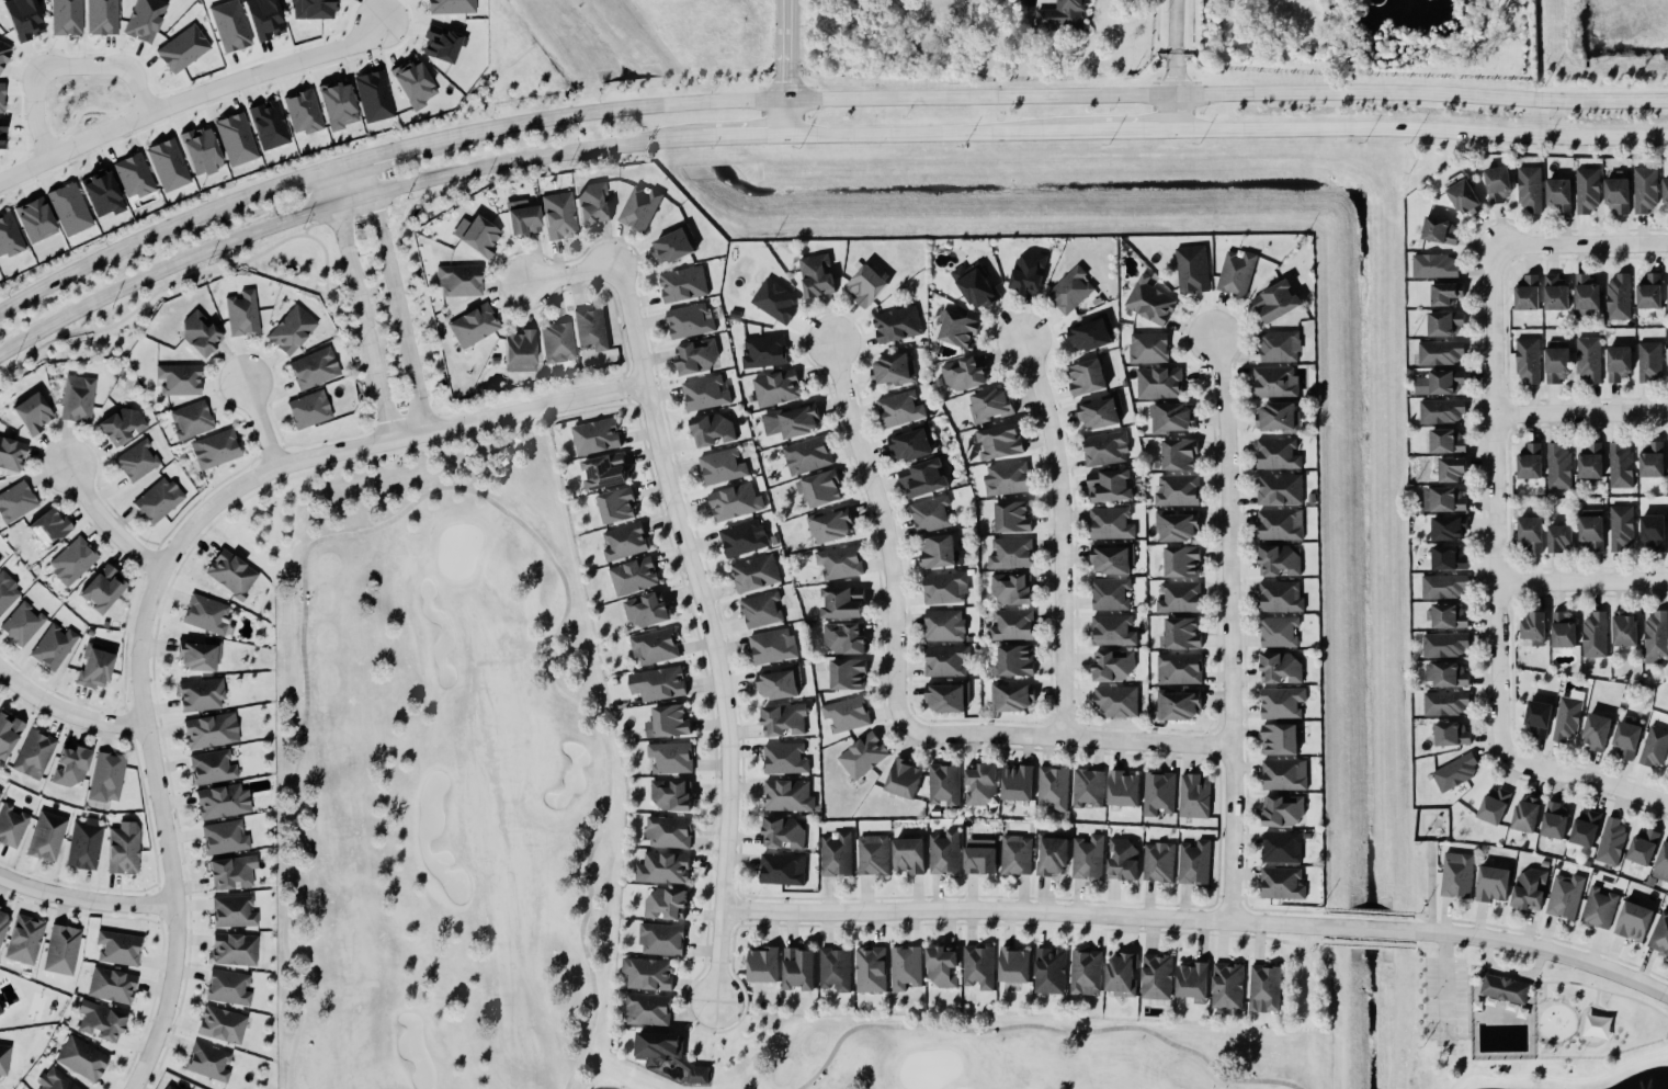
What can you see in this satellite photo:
building: (450, 5)
building: (311, 8)
building: (1060, 15)
building: (66, 16)
building: (102, 16)
building: (22, 19)
building: (144, 19)
building: (262, 19)
building: (229, 25)
building: (440, 43)
building: (181, 48)
building: (3, 52)
road: (1176, 66)
road: (787, 68)
road: (110, 76)
building: (412, 83)
building: (372, 95)
building: (1, 97)
road: (190, 98)
road: (1227, 102)
building: (336, 105)
building: (302, 112)
road: (602, 112)
road: (41, 117)
building: (268, 124)
road: (1227, 132)
building: (2, 133)
building: (235, 138)
building: (198, 150)
road: (388, 152)
building: (167, 165)
road: (338, 166)
building: (132, 175)
building: (1497, 184)
building: (1530, 189)
building: (1588, 191)
building: (1647, 191)
building: (1665, 191)
road: (377, 193)
building: (99, 194)
building: (1558, 195)
building: (1618, 195)
building: (1463, 197)
building: (592, 203)
building: (68, 208)
building: (640, 209)
building: (558, 215)
building: (520, 217)
building: (33, 219)
building: (1440, 231)
road: (155, 235)
building: (8, 236)
building: (476, 236)
building: (672, 246)
road: (1495, 249)
building: (1434, 266)
building: (1193, 270)
building: (1029, 272)
building: (1237, 273)
road: (571, 275)
building: (817, 276)
building: (458, 280)
building: (683, 284)
building: (865, 285)
building: (974, 287)
building: (1071, 291)
building: (1527, 293)
building: (1556, 293)
building: (1587, 293)
building: (1650, 293)
building: (1445, 294)
road: (396, 296)
building: (1620, 297)
building: (775, 302)
building: (1149, 302)
building: (1275, 303)
road: (355, 306)
building: (241, 314)
building: (690, 321)
building: (1445, 324)
building: (473, 325)
building: (897, 325)
building: (591, 329)
building: (291, 330)
building: (957, 330)
building: (197, 333)
building: (1091, 336)
building: (556, 341)
building: (1280, 347)
building: (1148, 349)
building: (519, 350)
building: (764, 352)
building: (1441, 353)
building: (695, 356)
building: (1589, 359)
building: (1529, 361)
building: (1557, 361)
building: (1650, 362)
building: (1619, 363)
building: (314, 367)
building: (893, 370)
building: (965, 374)
building: (1086, 377)
building: (179, 378)
building: (1275, 382)
building: (1159, 384)
building: (1441, 384)
building: (776, 388)
building: (705, 393)
building: (77, 398)
building: (990, 405)
building: (308, 409)
building: (900, 410)
building: (1442, 411)
building: (30, 413)
building: (1100, 413)
building: (1170, 418)
building: (1279, 418)
road: (1584, 418)
building: (191, 420)
road: (259, 421)
building: (791, 422)
building: (121, 424)
building: (712, 431)
building: (595, 436)
building: (1448, 441)
road: (386, 442)
building: (999, 442)
building: (911, 444)
building: (215, 449)
building: (1107, 450)
building: (11, 454)
building: (1179, 454)
building: (1278, 455)
building: (807, 456)
building: (136, 461)
building: (1653, 461)
building: (1590, 462)
building: (1531, 463)
building: (722, 467)
building: (1559, 467)
building: (1621, 467)
building: (1451, 469)
building: (603, 472)
building: (924, 478)
building: (1007, 479)
road: (449, 487)
building: (1110, 487)
building: (821, 489)
building: (1178, 490)
building: (1281, 490)
building: (157, 500)
building: (1444, 500)
building: (15, 502)
building: (735, 502)
building: (617, 507)
building: (932, 514)
building: (1011, 518)
road: (109, 520)
building: (1112, 523)
building: (1281, 525)
building: (830, 526)
building: (46, 528)
building: (1178, 528)
building: (1622, 528)
building: (1450, 529)
road: (884, 531)
building: (1591, 531)
building: (1653, 532)
road: (1063, 535)
building: (1530, 535)
building: (744, 538)
building: (1559, 540)
building: (625, 542)
building: (938, 553)
building: (1012, 554)
building: (1449, 558)
building: (72, 560)
building: (1112, 560)
building: (1181, 561)
building: (1279, 561)
building: (840, 563)
building: (229, 572)
building: (756, 574)
building: (633, 577)
road: (1582, 582)
building: (1443, 587)
building: (101, 588)
building: (945, 589)
building: (1011, 589)
building: (7, 592)
building: (1111, 594)
building: (1281, 598)
building: (1180, 599)
road: (1498, 599)
building: (841, 603)
building: (646, 610)
building: (762, 611)
building: (207, 615)
building: (1449, 617)
building: (22, 624)
building: (1013, 625)
building: (944, 626)
building: (1533, 627)
road: (1230, 628)
road: (711, 629)
building: (1624, 629)
building: (1113, 631)
building: (1563, 631)
building: (1279, 632)
building: (1182, 635)
building: (1595, 635)
building: (1656, 636)
building: (844, 639)
building: (1446, 645)
building: (53, 647)
building: (655, 647)
building: (773, 647)
building: (196, 657)
building: (946, 661)
building: (1014, 661)
building: (93, 669)
building: (1280, 669)
building: (1180, 670)
building: (847, 674)
building: (1448, 676)
building: (657, 684)
building: (779, 684)
building: (200, 695)
building: (946, 699)
building: (1011, 699)
building: (1116, 702)
building: (1282, 703)
building: (1445, 704)
building: (1180, 706)
building: (847, 714)
road: (66, 717)
building: (1569, 718)
building: (1537, 719)
building: (667, 723)
building: (206, 731)
building: (1596, 733)
building: (7, 734)
building: (1451, 735)
road: (1068, 737)
building: (1625, 739)
building: (1279, 740)
building: (1655, 747)
building: (34, 755)
building: (863, 757)
building: (671, 758)
building: (786, 759)
building: (69, 765)
building: (212, 767)
building: (1455, 773)
building: (1283, 776)
building: (105, 778)
building: (903, 780)
building: (944, 784)
building: (1015, 784)
building: (979, 785)
road: (1597, 785)
building: (1054, 789)
building: (1088, 789)
building: (1122, 790)
building: (0, 791)
building: (1159, 794)
building: (672, 796)
building: (788, 796)
building: (1194, 797)
building: (220, 802)
building: (1494, 806)
building: (1283, 813)
building: (1525, 816)
park: (533, 821)
building: (1554, 821)
building: (11, 826)
road: (163, 829)
building: (1586, 829)
building: (669, 832)
building: (782, 833)
building: (46, 837)
building: (224, 838)
building: (1613, 842)
building: (83, 844)
building: (1282, 848)
building: (122, 849)
building: (1643, 849)
building: (945, 853)
building: (873, 855)
building: (1018, 855)
building: (907, 857)
building: (1053, 857)
building: (979, 858)
building: (1089, 859)
building: (1122, 861)
building: (1663, 862)
building: (1159, 863)
building: (1195, 863)
building: (662, 869)
building: (783, 870)
building: (1457, 875)
road: (1431, 877)
building: (1283, 884)
building: (1491, 885)
building: (1530, 891)
building: (1566, 897)
road: (84, 900)
building: (665, 904)
building: (1600, 909)
building: (0, 911)
building: (232, 911)
road: (1201, 919)
building: (1634, 922)
building: (1, 926)
building: (1660, 934)
building: (23, 939)
building: (662, 939)
building: (117, 948)
building: (232, 948)
building: (60, 950)
building: (761, 964)
building: (1014, 964)
building: (942, 966)
building: (979, 966)
building: (906, 967)
building: (797, 968)
building: (836, 968)
building: (871, 969)
building: (1052, 971)
building: (1087, 973)
building: (1122, 973)
building: (648, 974)
building: (1157, 976)
building: (1193, 980)
building: (111, 985)
building: (1499, 985)
building: (1228, 986)
building: (227, 987)
road: (1445, 987)
building: (1266, 989)
parking lot: (1443, 995)
building: (0, 1008)
building: (648, 1009)
building: (99, 1020)
building: (222, 1023)
building: (1598, 1025)
road: (1044, 1026)
building: (658, 1046)
building: (81, 1057)
building: (3, 1058)
building: (207, 1062)
building: (699, 1074)
building: (53, 1080)
building: (169, 1086)

